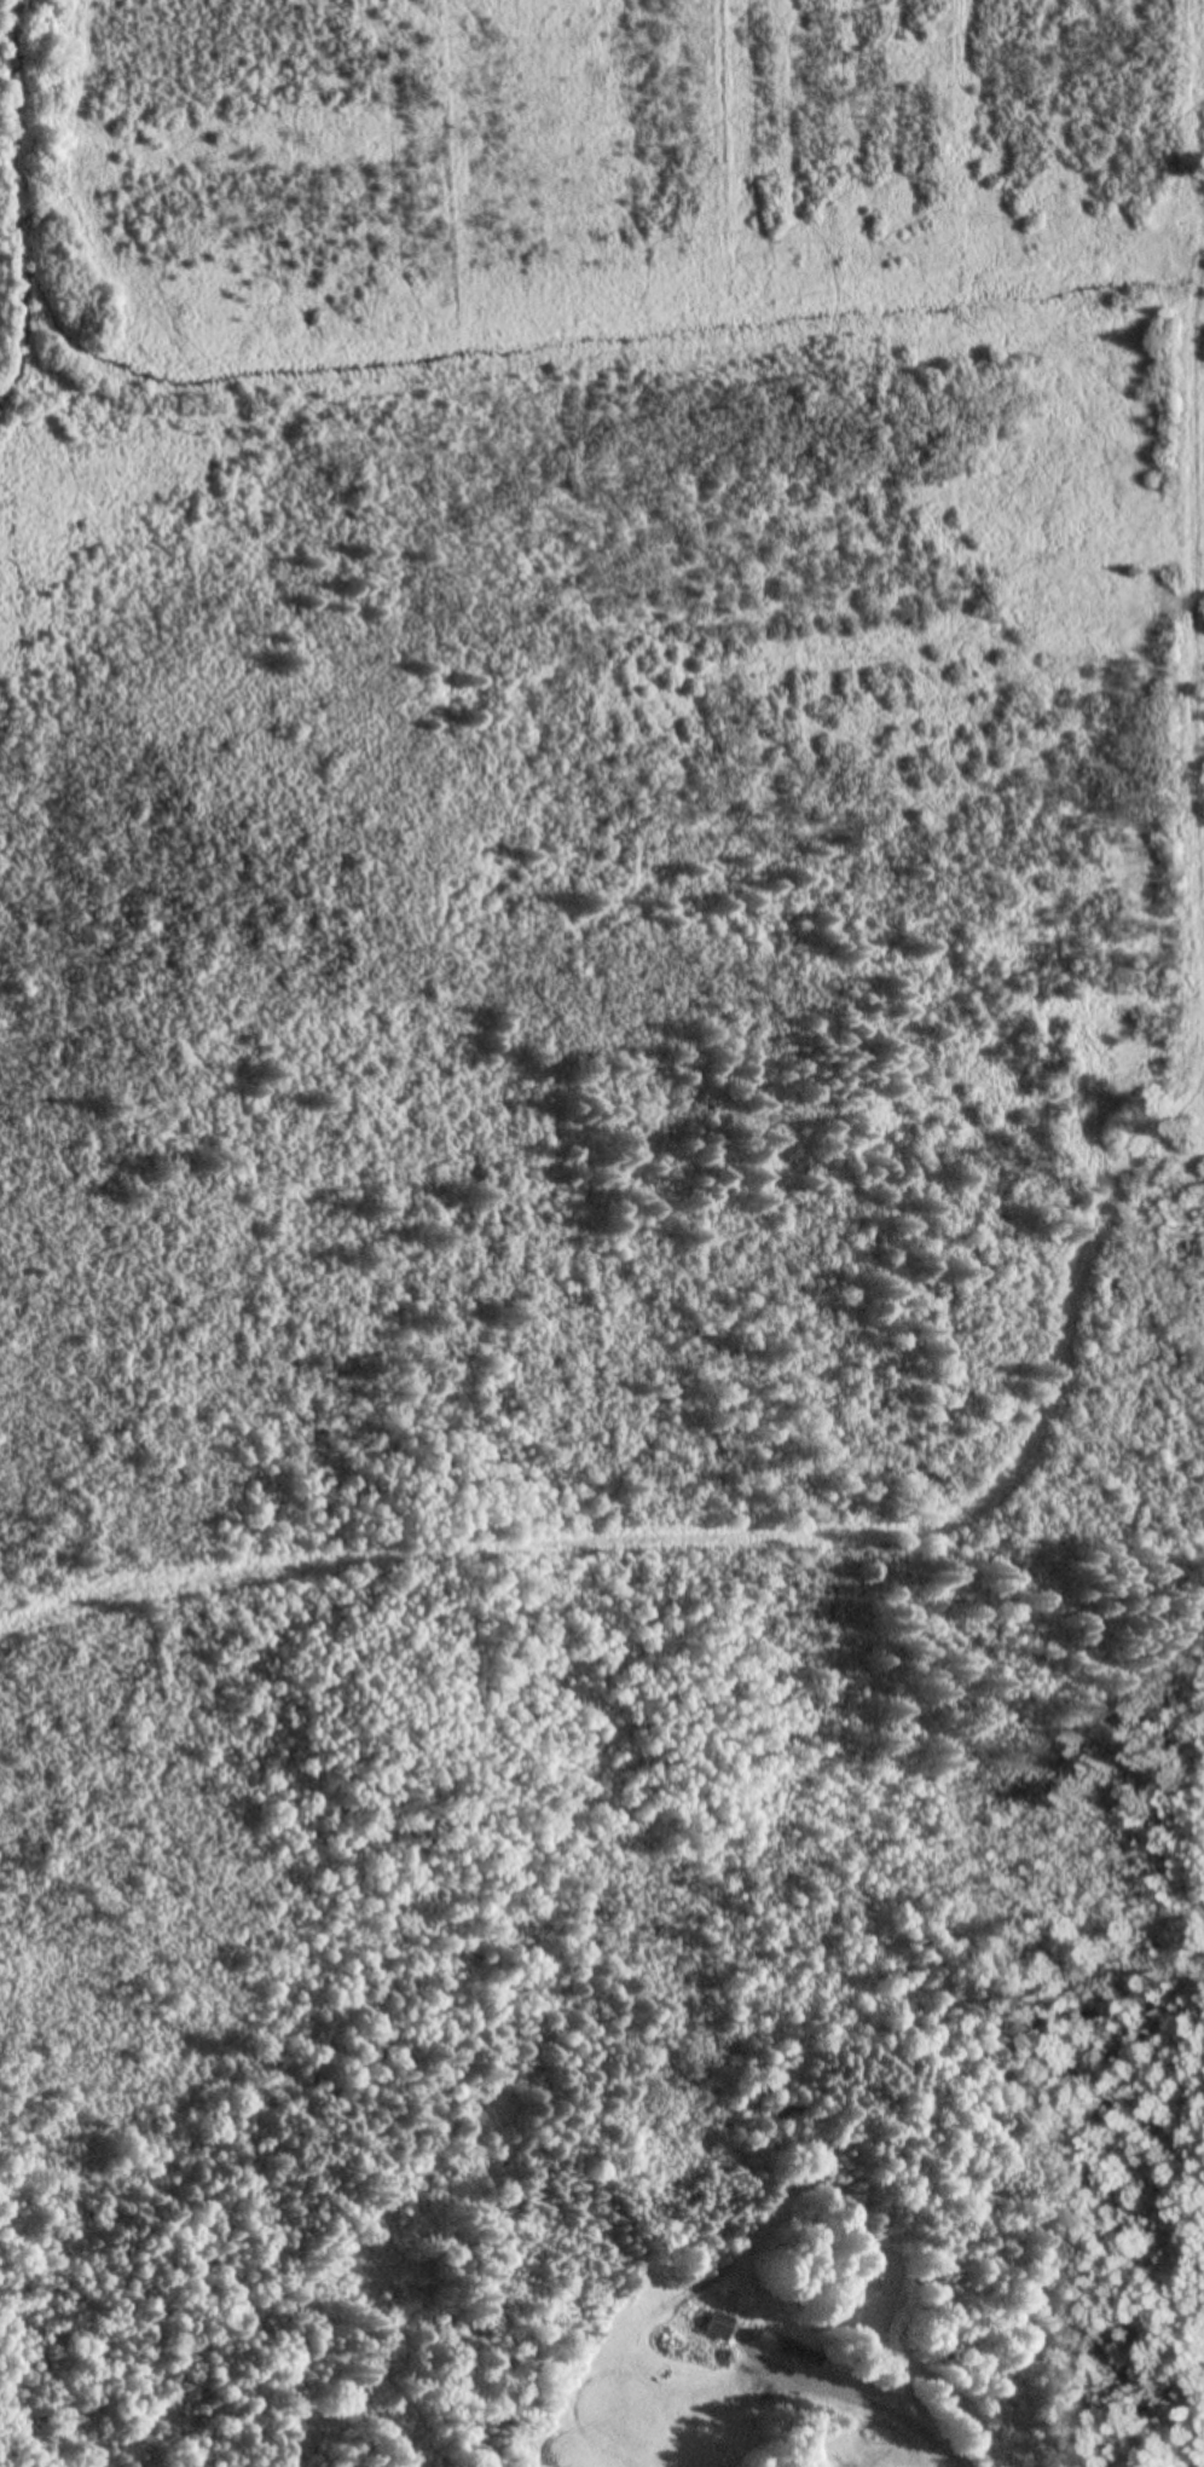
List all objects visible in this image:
building: (720, 2324)
building: (789, 2347)

